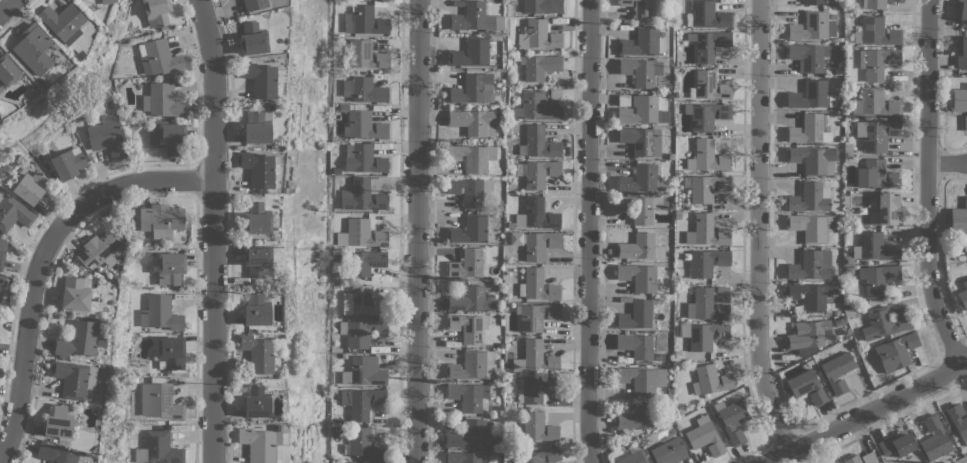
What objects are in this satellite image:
building: (107, 1)
building: (812, 2)
building: (625, 3)
building: (254, 4)
building: (874, 4)
building: (543, 6)
building: (644, 10)
building: (961, 10)
road: (12, 12)
building: (156, 12)
building: (707, 15)
building: (475, 19)
building: (365, 20)
building: (62, 22)
building: (812, 26)
building: (876, 32)
building: (539, 35)
building: (252, 39)
building: (642, 42)
building: (709, 44)
building: (33, 49)
building: (471, 52)
building: (961, 53)
building: (364, 55)
building: (808, 56)
building: (158, 57)
building: (876, 62)
building: (539, 67)
building: (7, 71)
building: (641, 71)
building: (262, 79)
building: (709, 86)
building: (472, 89)
building: (364, 90)
building: (555, 95)
building: (809, 95)
building: (958, 100)
building: (162, 101)
building: (875, 103)
building: (536, 107)
building: (639, 109)
building: (706, 115)
building: (474, 122)
building: (965, 122)
building: (363, 125)
building: (257, 127)
building: (808, 130)
building: (876, 134)
building: (167, 135)
building: (107, 137)
building: (639, 139)
building: (538, 143)
building: (707, 156)
building: (472, 157)
building: (364, 158)
building: (813, 159)
building: (67, 163)
road: (950, 166)
building: (258, 168)
building: (540, 173)
building: (876, 175)
building: (641, 179)
road: (933, 186)
building: (31, 187)
building: (705, 187)
building: (471, 190)
building: (361, 196)
building: (809, 197)
building: (639, 207)
building: (886, 209)
building: (13, 213)
building: (536, 215)
building: (256, 218)
building: (959, 218)
building: (161, 220)
road: (759, 226)
building: (812, 226)
building: (469, 229)
road: (216, 230)
road: (419, 231)
building: (706, 231)
road: (590, 232)
building: (361, 234)
building: (538, 244)
building: (640, 247)
building: (99, 248)
building: (871, 248)
building: (2, 250)
building: (257, 261)
building: (364, 261)
road: (44, 262)
building: (707, 262)
building: (467, 264)
building: (811, 266)
building: (170, 268)
building: (638, 277)
building: (878, 278)
building: (2, 282)
building: (539, 285)
building: (722, 293)
building: (75, 294)
building: (963, 294)
building: (807, 295)
building: (470, 300)
building: (362, 301)
building: (706, 305)
building: (255, 310)
building: (160, 313)
building: (635, 315)
building: (536, 316)
building: (884, 323)
building: (466, 327)
building: (361, 332)
building: (703, 334)
building: (808, 334)
building: (80, 339)
building: (635, 345)
building: (171, 352)
building: (895, 352)
building: (256, 353)
building: (534, 357)
building: (472, 365)
building: (364, 371)
building: (838, 371)
building: (73, 378)
building: (642, 379)
building: (711, 380)
building: (807, 387)
building: (534, 388)
building: (468, 396)
building: (160, 401)
building: (362, 401)
building: (256, 402)
road: (865, 412)
building: (636, 417)
building: (732, 419)
building: (957, 420)
building: (58, 422)
building: (538, 427)
building: (471, 435)
building: (704, 436)
building: (933, 438)
building: (259, 444)
building: (364, 444)
building: (895, 445)
building: (159, 449)
building: (670, 451)
building: (54, 454)
building: (541, 456)
building: (461, 457)
building: (633, 458)
building: (868, 458)
building: (851, 459)
building: (359, 462)
building: (384, 462)
building: (837, 462)
building: (838, 462)

